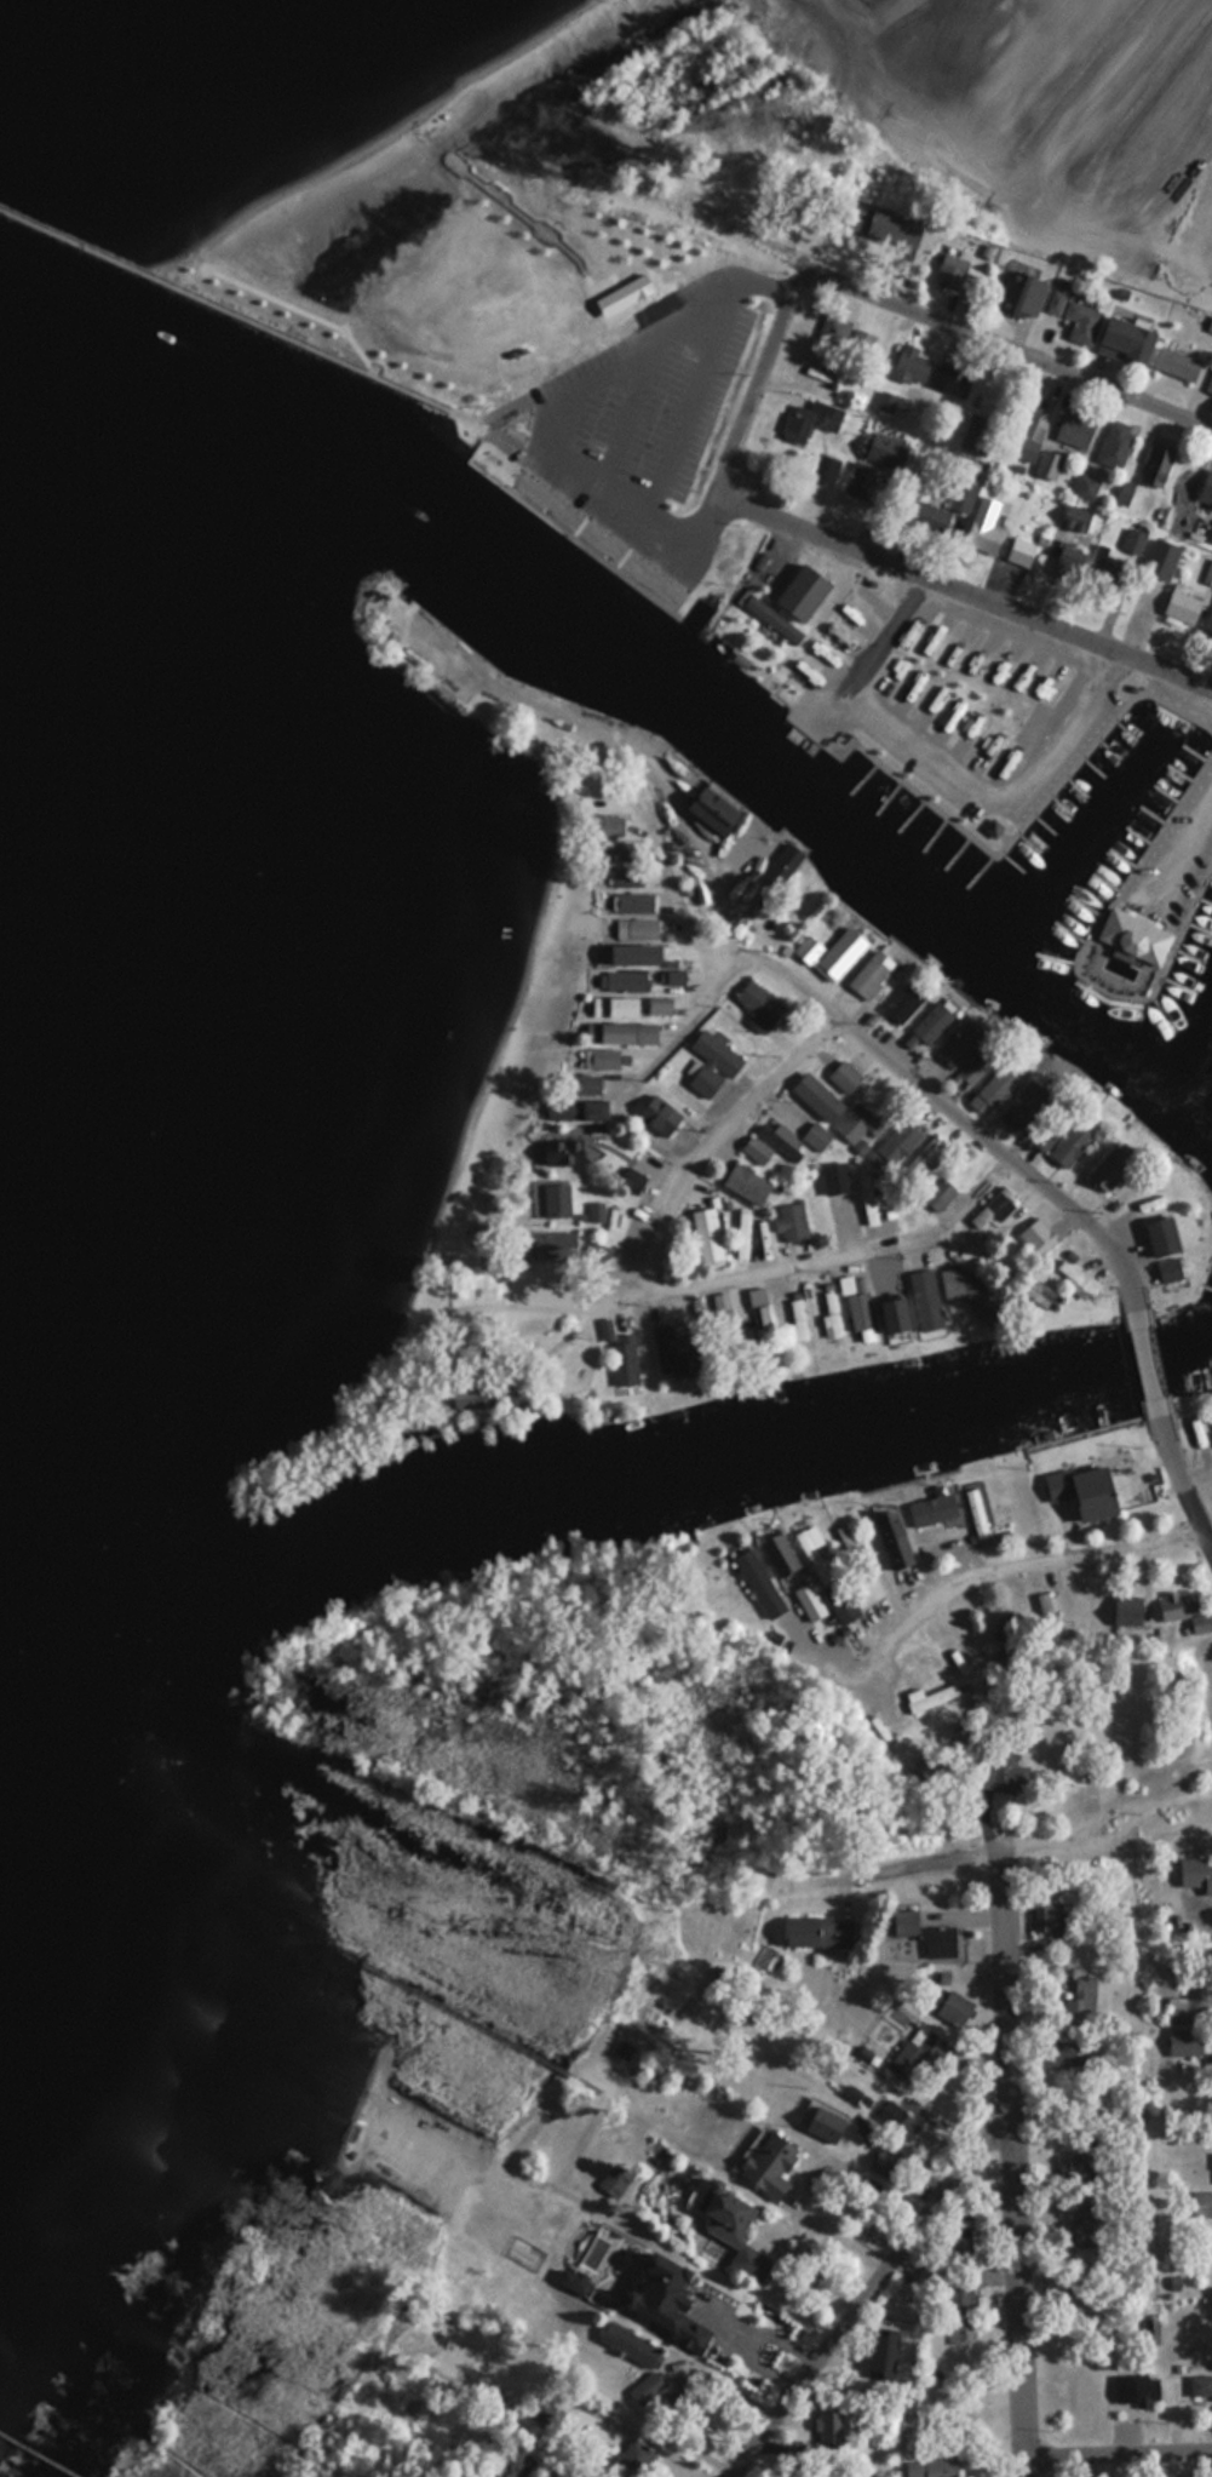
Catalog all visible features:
park: (625, 203)
building: (884, 227)
road: (550, 233)
building: (950, 271)
building: (1021, 294)
road: (247, 311)
building: (1072, 314)
building: (833, 329)
building: (1126, 333)
road: (642, 338)
building: (862, 343)
road: (1006, 343)
building: (1176, 365)
building: (912, 366)
building: (950, 383)
road: (754, 384)
building: (1210, 384)
road: (696, 396)
building: (888, 401)
building: (808, 420)
building: (1027, 428)
building: (1075, 428)
building: (1115, 443)
building: (1050, 465)
building: (1156, 465)
building: (825, 469)
building: (860, 480)
building: (1086, 487)
building: (1210, 499)
building: (947, 509)
building: (1075, 518)
building: (984, 527)
building: (1211, 535)
road: (857, 545)
building: (1021, 552)
building: (1161, 561)
building: (1116, 562)
building: (1065, 564)
building: (1185, 609)
building: (771, 618)
road: (961, 682)
building: (1088, 733)
building: (821, 736)
road: (926, 769)
road: (668, 789)
river: (818, 796)
building: (708, 804)
building: (603, 822)
building: (614, 849)
road: (1182, 856)
building: (626, 876)
building: (636, 901)
building: (636, 927)
building: (1133, 934)
building: (808, 948)
building: (839, 952)
building: (632, 953)
building: (1126, 959)
building: (871, 973)
building: (624, 980)
building: (759, 1000)
building: (902, 1000)
building: (613, 1005)
building: (656, 1007)
building: (925, 1026)
road: (673, 1027)
building: (619, 1032)
building: (957, 1047)
building: (602, 1057)
building: (711, 1062)
building: (977, 1065)
building: (844, 1076)
building: (582, 1084)
building: (998, 1084)
building: (816, 1096)
building: (1022, 1106)
building: (574, 1110)
building: (857, 1123)
building: (1050, 1130)
building: (817, 1136)
road: (712, 1137)
building: (781, 1139)
building: (898, 1142)
road: (995, 1142)
building: (1070, 1143)
building: (757, 1149)
building: (561, 1152)
building: (926, 1159)
building: (1107, 1168)
building: (835, 1176)
building: (631, 1180)
building: (746, 1183)
building: (942, 1194)
building: (556, 1199)
building: (875, 1199)
building: (995, 1208)
building: (597, 1211)
building: (792, 1222)
building: (743, 1233)
building: (706, 1234)
building: (1038, 1234)
building: (1159, 1234)
building: (547, 1245)
building: (597, 1254)
road: (827, 1255)
building: (1167, 1267)
building: (1075, 1278)
building: (967, 1286)
building: (1039, 1291)
building: (925, 1298)
building: (892, 1303)
building: (860, 1307)
building: (829, 1313)
building: (798, 1318)
building: (723, 1320)
building: (670, 1349)
road: (1147, 1349)
building: (620, 1354)
building: (470, 1400)
road: (1181, 1466)
building: (1081, 1490)
building: (934, 1508)
building: (892, 1537)
building: (780, 1552)
building: (816, 1555)
building: (758, 1579)
road: (967, 1581)
building: (843, 1602)
building: (1125, 1610)
building: (1183, 1610)
building: (1049, 1616)
building: (930, 1697)
building: (1000, 1772)
road: (1028, 1847)
building: (1197, 1871)
building: (1046, 1915)
building: (816, 1933)
building: (924, 1933)
building: (1190, 2001)
building: (1081, 2002)
building: (1184, 2041)
building: (1063, 2053)
building: (911, 2055)
building: (898, 2121)
building: (823, 2122)
building: (880, 2163)
road: (1009, 2163)
building: (768, 2164)
building: (1076, 2168)
building: (615, 2181)
building: (1200, 2204)
building: (730, 2229)
building: (1081, 2232)
road: (866, 2292)
building: (958, 2295)
building: (667, 2297)
building: (963, 2334)
building: (632, 2353)
building: (883, 2353)
building: (1200, 2385)
building: (1145, 2391)
building: (542, 2418)
building: (831, 2431)
road: (1118, 2448)
building: (633, 2459)
building: (512, 2462)
building: (932, 2467)

